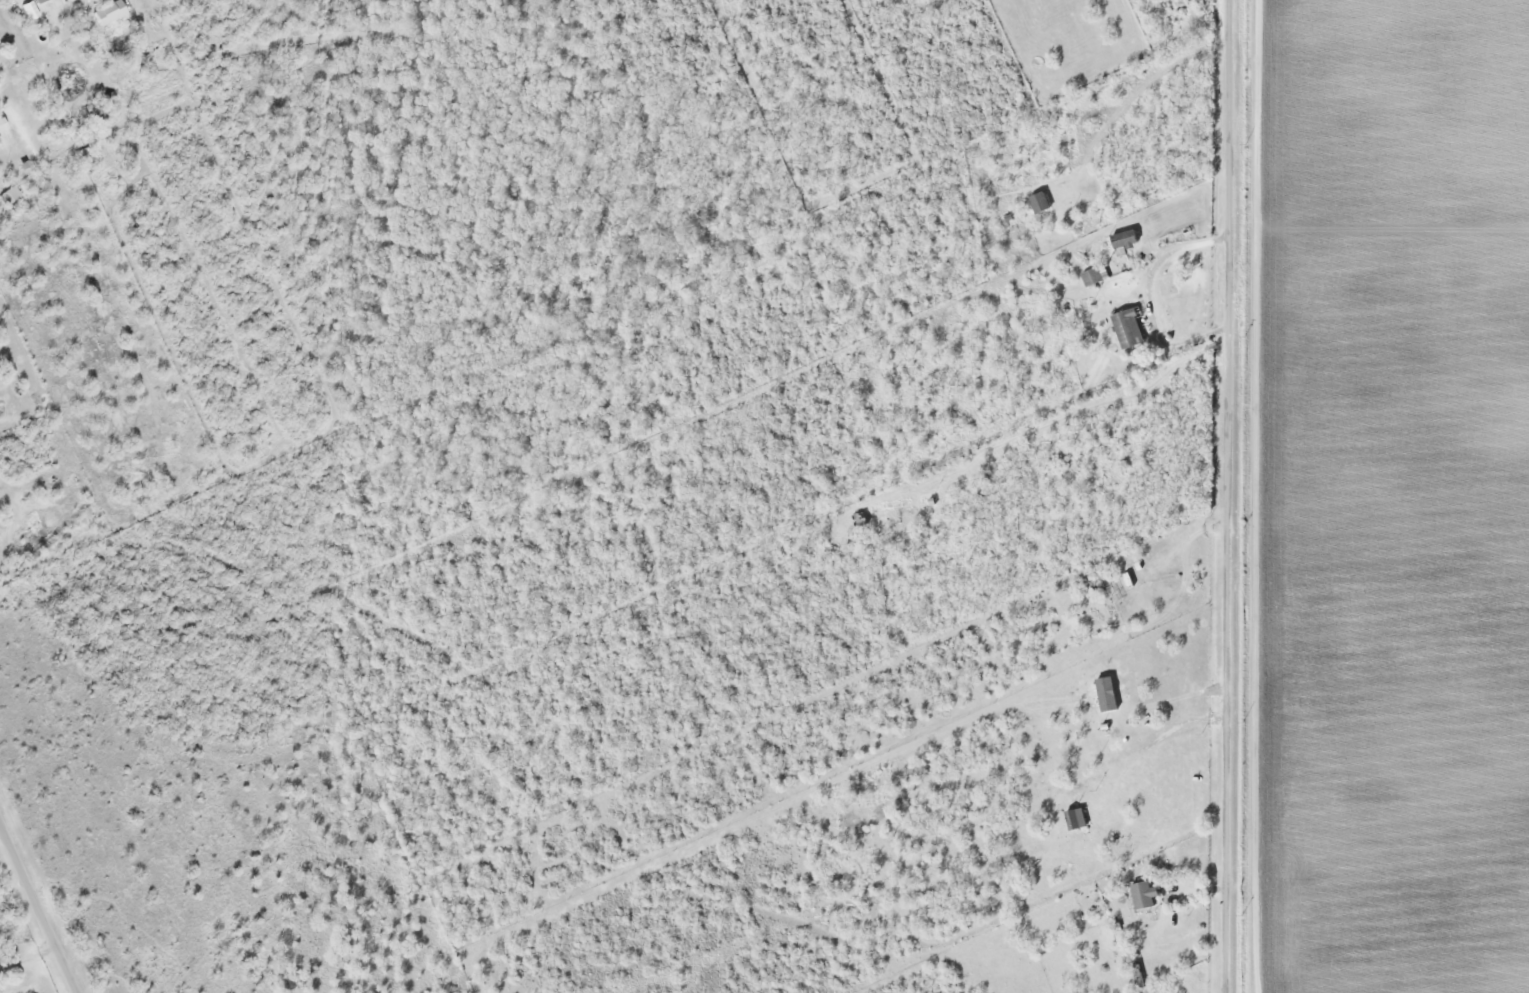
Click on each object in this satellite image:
road: (83, 3)
building: (110, 12)
building: (10, 195)
building: (1042, 202)
building: (1126, 239)
building: (1096, 276)
building: (1167, 285)
building: (1066, 307)
building: (1130, 329)
road: (1227, 496)
building: (1075, 819)
building: (1151, 892)
road: (37, 910)

